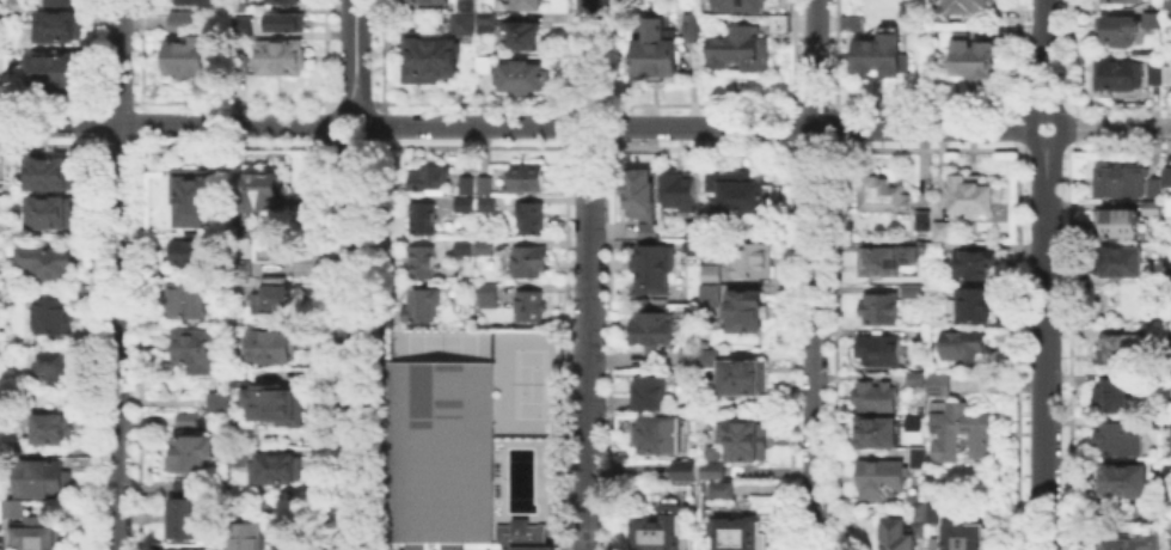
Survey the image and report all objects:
building: (425, 0)
building: (56, 1)
building: (292, 1)
building: (1120, 1)
building: (191, 2)
building: (16, 4)
building: (523, 4)
building: (737, 4)
building: (465, 5)
building: (969, 7)
building: (1170, 11)
building: (2, 13)
building: (749, 16)
building: (778, 19)
building: (461, 22)
building: (847, 22)
building: (245, 23)
building: (1157, 23)
building: (56, 24)
building: (190, 24)
building: (691, 24)
building: (287, 25)
building: (509, 29)
building: (1118, 33)
building: (1011, 36)
building: (738, 45)
building: (1159, 47)
building: (655, 48)
road: (1043, 51)
road: (355, 54)
building: (425, 55)
building: (884, 55)
building: (2, 60)
building: (189, 60)
building: (282, 60)
building: (976, 61)
building: (482, 62)
building: (50, 71)
building: (1158, 73)
building: (519, 74)
building: (1126, 77)
road: (168, 123)
road: (1065, 124)
road: (1020, 126)
road: (1117, 126)
road: (697, 127)
road: (339, 134)
building: (424, 175)
building: (1165, 175)
building: (54, 176)
building: (523, 176)
building: (1118, 178)
building: (464, 183)
building: (483, 183)
building: (1153, 185)
building: (736, 187)
building: (678, 188)
building: (259, 190)
building: (638, 191)
building: (970, 191)
building: (881, 192)
building: (191, 194)
building: (462, 202)
building: (485, 202)
building: (2, 204)
building: (1166, 204)
building: (1153, 206)
building: (51, 214)
building: (418, 215)
building: (528, 216)
building: (707, 218)
building: (921, 218)
building: (1116, 219)
building: (689, 227)
building: (646, 228)
building: (940, 228)
building: (241, 240)
building: (483, 244)
building: (689, 244)
building: (462, 245)
building: (933, 246)
building: (194, 251)
building: (884, 256)
building: (750, 257)
building: (47, 259)
building: (526, 261)
building: (418, 262)
building: (1115, 262)
building: (973, 263)
building: (240, 265)
building: (651, 265)
building: (152, 270)
building: (710, 271)
building: (1166, 274)
road: (117, 275)
road: (587, 275)
road: (815, 275)
building: (81, 283)
building: (1164, 285)
building: (913, 289)
building: (486, 293)
building: (710, 293)
building: (81, 294)
building: (271, 295)
building: (185, 299)
building: (421, 302)
building: (527, 302)
building: (974, 302)
building: (878, 306)
building: (743, 308)
building: (51, 313)
building: (1004, 317)
building: (649, 328)
building: (1004, 329)
building: (1149, 331)
building: (1170, 332)
building: (275, 343)
building: (961, 343)
park: (441, 344)
road: (352, 346)
building: (1118, 347)
building: (195, 348)
building: (877, 348)
road: (1042, 348)
building: (80, 355)
building: (709, 355)
building: (688, 357)
building: (51, 366)
building: (741, 374)
building: (1165, 375)
building: (914, 377)
building: (1151, 377)
building: (243, 379)
park: (526, 381)
building: (938, 383)
building: (648, 391)
building: (873, 393)
building: (1117, 395)
building: (217, 399)
building: (275, 402)
building: (186, 417)
building: (216, 421)
building: (1164, 421)
building: (1154, 422)
building: (957, 428)
building: (876, 429)
building: (654, 430)
building: (55, 432)
building: (1118, 436)
building: (744, 438)
building: (1170, 439)
building: (712, 450)
building: (190, 452)
building: (238, 454)
building: (918, 456)
building: (80, 459)
building: (448, 460)
building: (1165, 465)
building: (277, 466)
building: (683, 467)
building: (712, 467)
building: (39, 476)
building: (879, 476)
building: (1121, 478)
building: (721, 487)
building: (266, 505)
building: (13, 506)
building: (179, 508)
building: (918, 509)
building: (1166, 509)
building: (932, 511)
building: (1148, 512)
building: (1, 513)
building: (919, 527)
building: (661, 528)
building: (37, 532)
building: (737, 533)
building: (897, 533)
building: (249, 534)
building: (962, 534)
building: (1132, 540)
building: (292, 542)
building: (185, 549)

